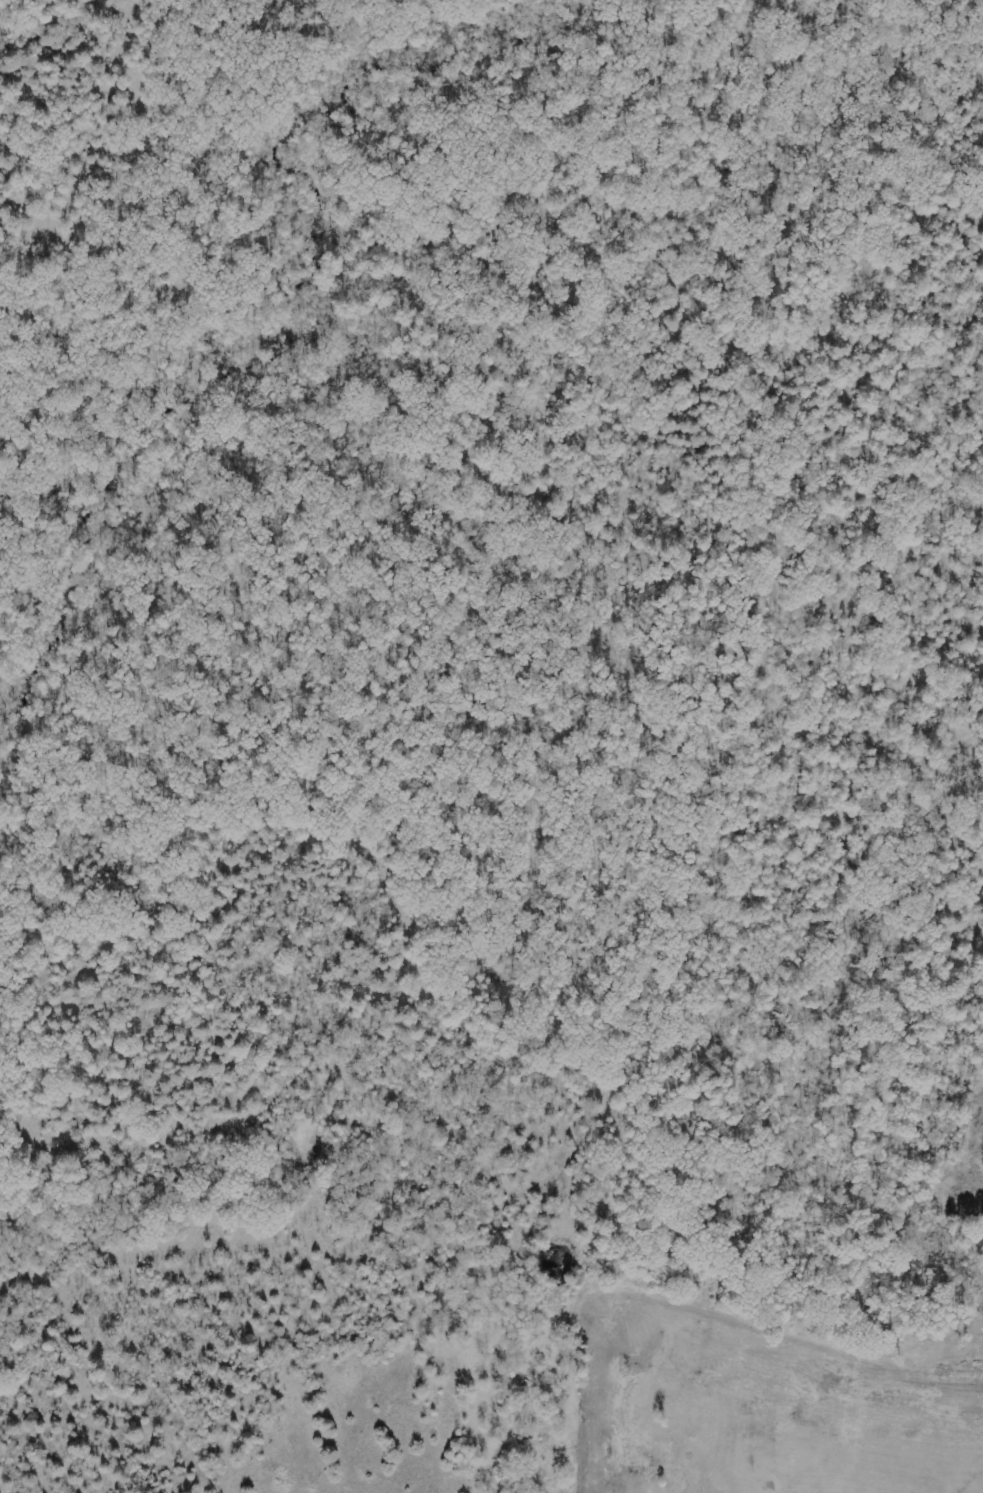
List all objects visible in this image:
road: (589, 1399)

